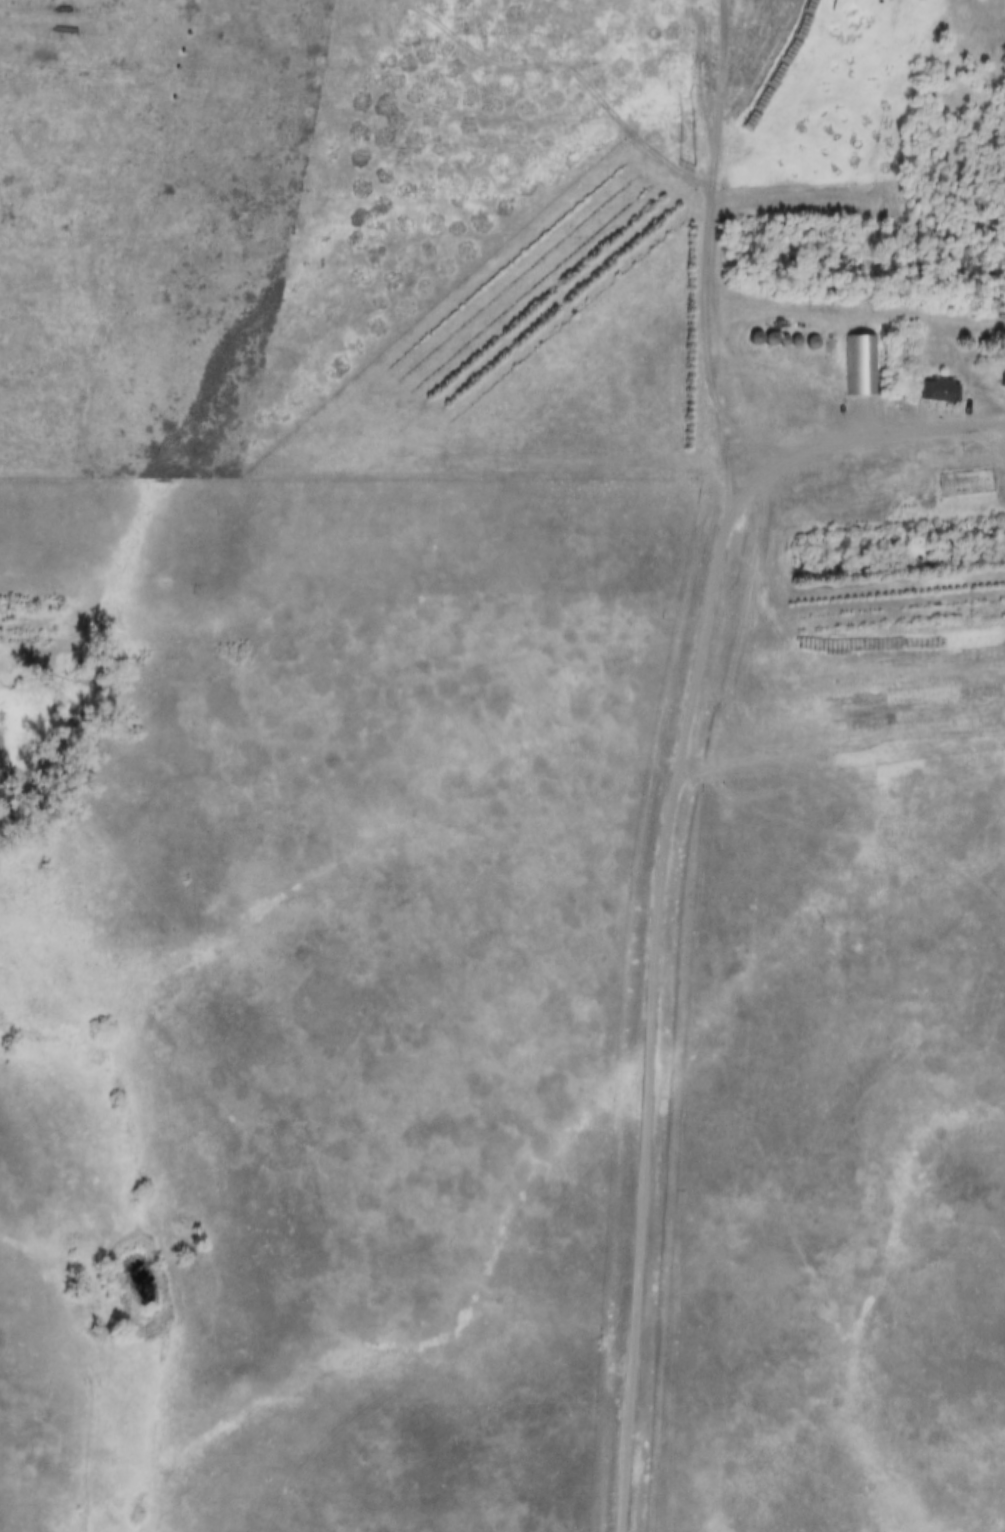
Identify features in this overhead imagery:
building: (863, 366)
building: (1003, 382)
building: (940, 391)
road: (662, 870)

